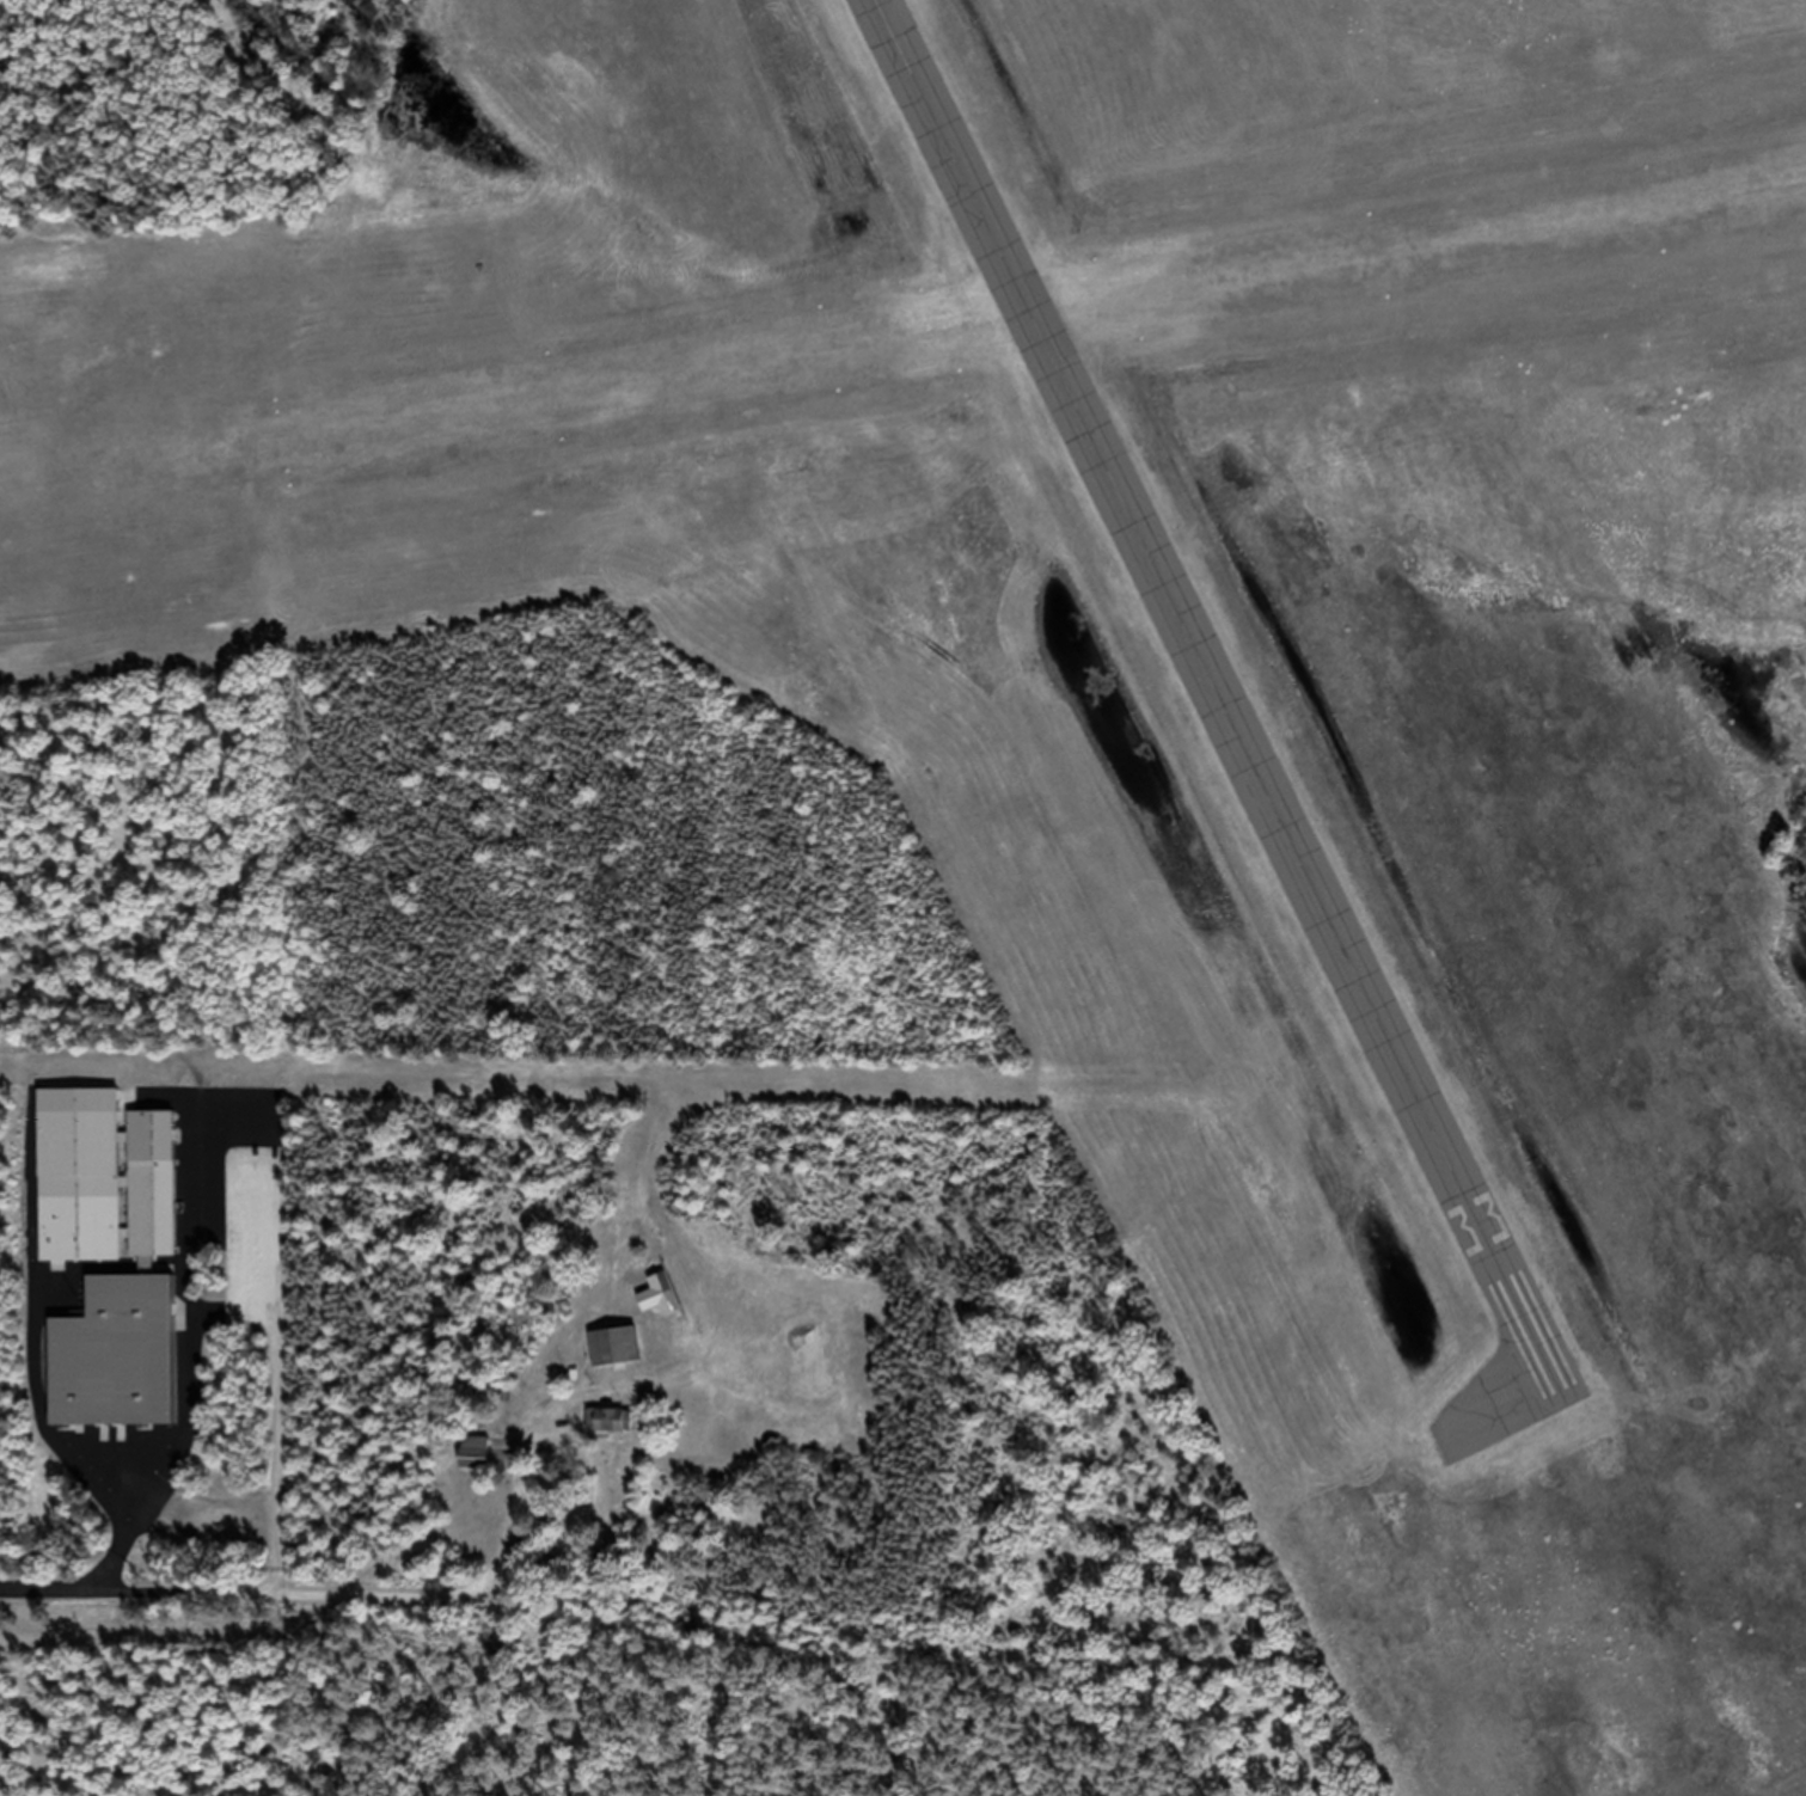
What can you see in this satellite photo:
airport runway: (902, 344)
airport: (1012, 692)
airport runway: (1220, 692)
building: (105, 1191)
building: (657, 1307)
building: (613, 1357)
building: (116, 1367)
building: (610, 1432)
building: (475, 1460)
road: (250, 1600)

